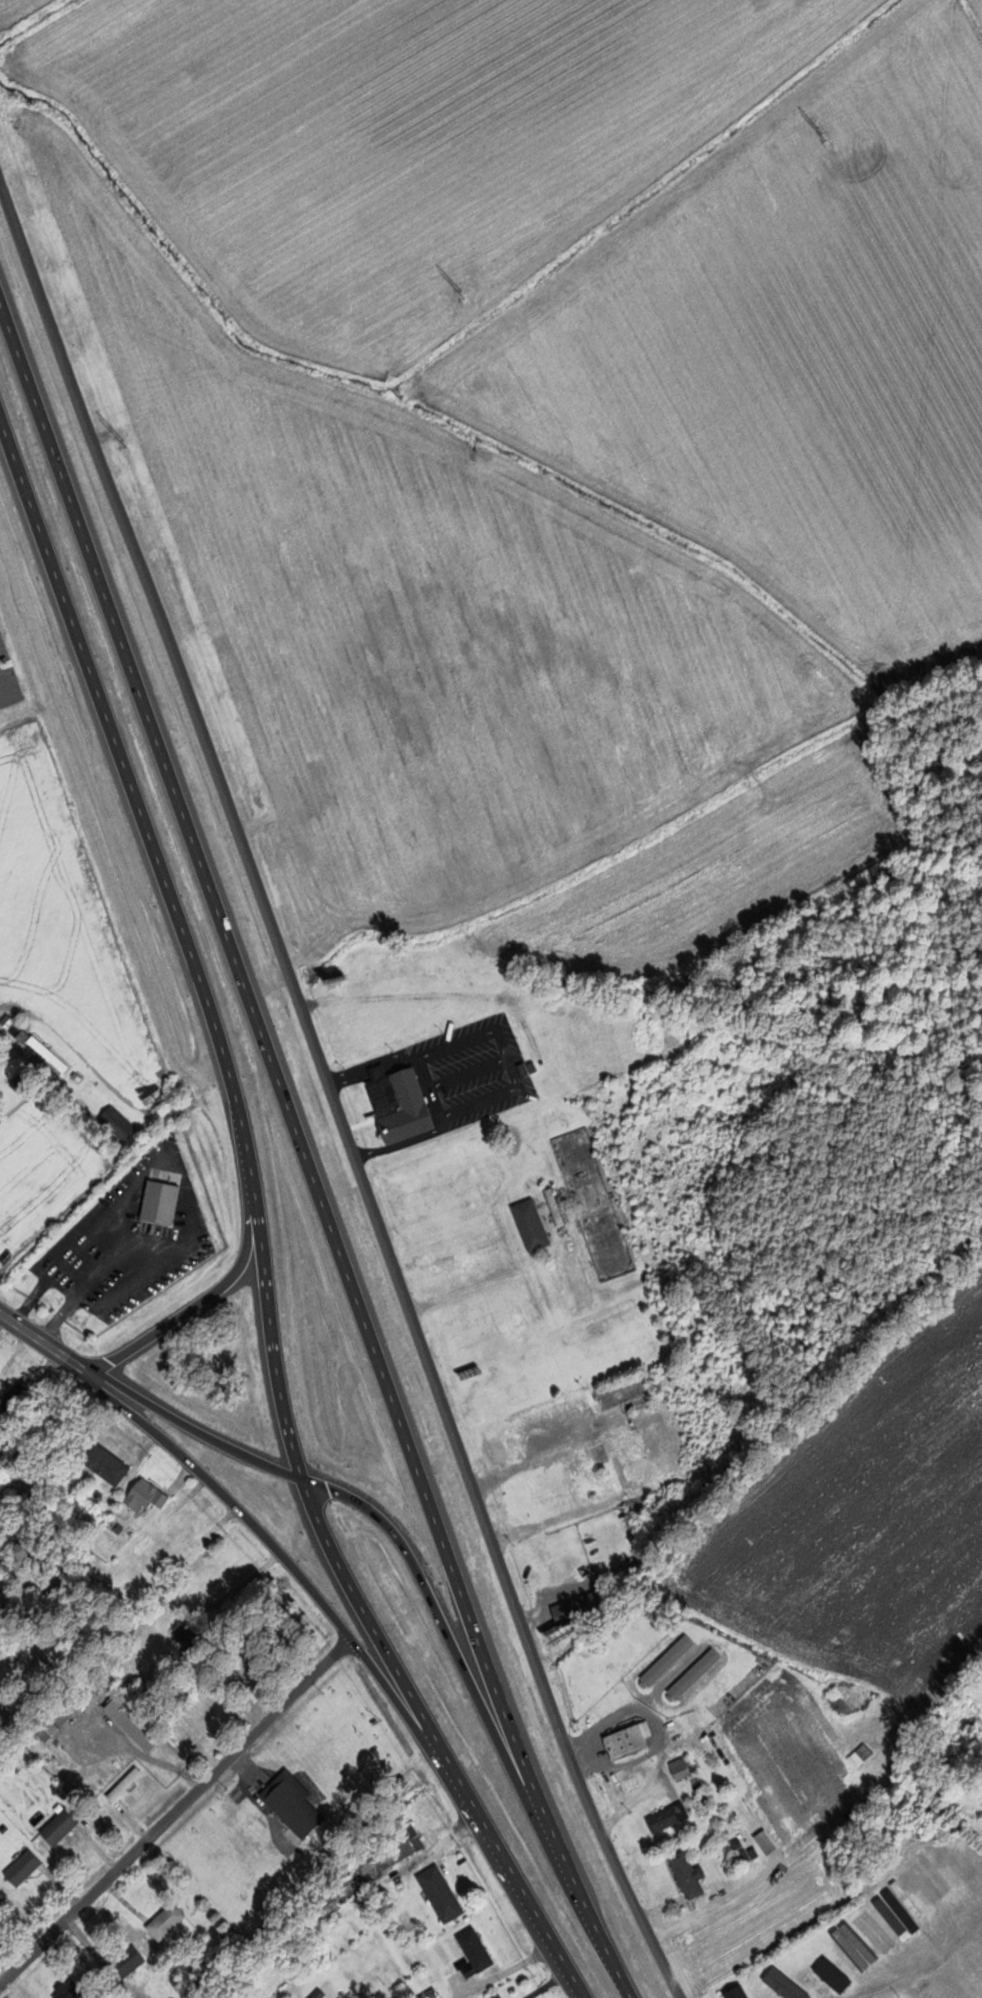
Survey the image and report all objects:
power tower: (825, 135)
power tower: (464, 293)
power tower: (126, 443)
road: (188, 936)
road: (6, 1036)
building: (51, 1054)
road: (275, 1063)
road: (331, 1091)
building: (402, 1104)
building: (120, 1122)
building: (162, 1203)
building: (559, 1206)
building: (533, 1225)
road: (203, 1298)
road: (46, 1343)
building: (629, 1393)
building: (18, 1394)
building: (108, 1464)
building: (148, 1496)
road: (391, 1531)
road: (279, 1551)
building: (582, 1608)
building: (189, 1636)
building: (670, 1660)
building: (249, 1665)
building: (697, 1673)
building: (136, 1723)
building: (631, 1739)
road: (436, 1742)
building: (863, 1755)
building: (731, 1765)
building: (682, 1768)
building: (127, 1784)
building: (296, 1804)
road: (177, 1814)
building: (670, 1818)
building: (63, 1827)
road: (57, 1836)
building: (768, 1842)
building: (400, 1848)
building: (25, 1868)
building: (690, 1875)
building: (342, 1893)
building: (443, 1894)
road: (595, 1914)
building: (170, 1920)
building: (924, 1920)
building: (478, 1950)
building: (878, 1950)
building: (373, 1962)
building: (128, 1964)
building: (831, 1969)
road: (915, 1974)
building: (775, 1976)
building: (737, 1989)
building: (322, 1995)
building: (912, 1995)

